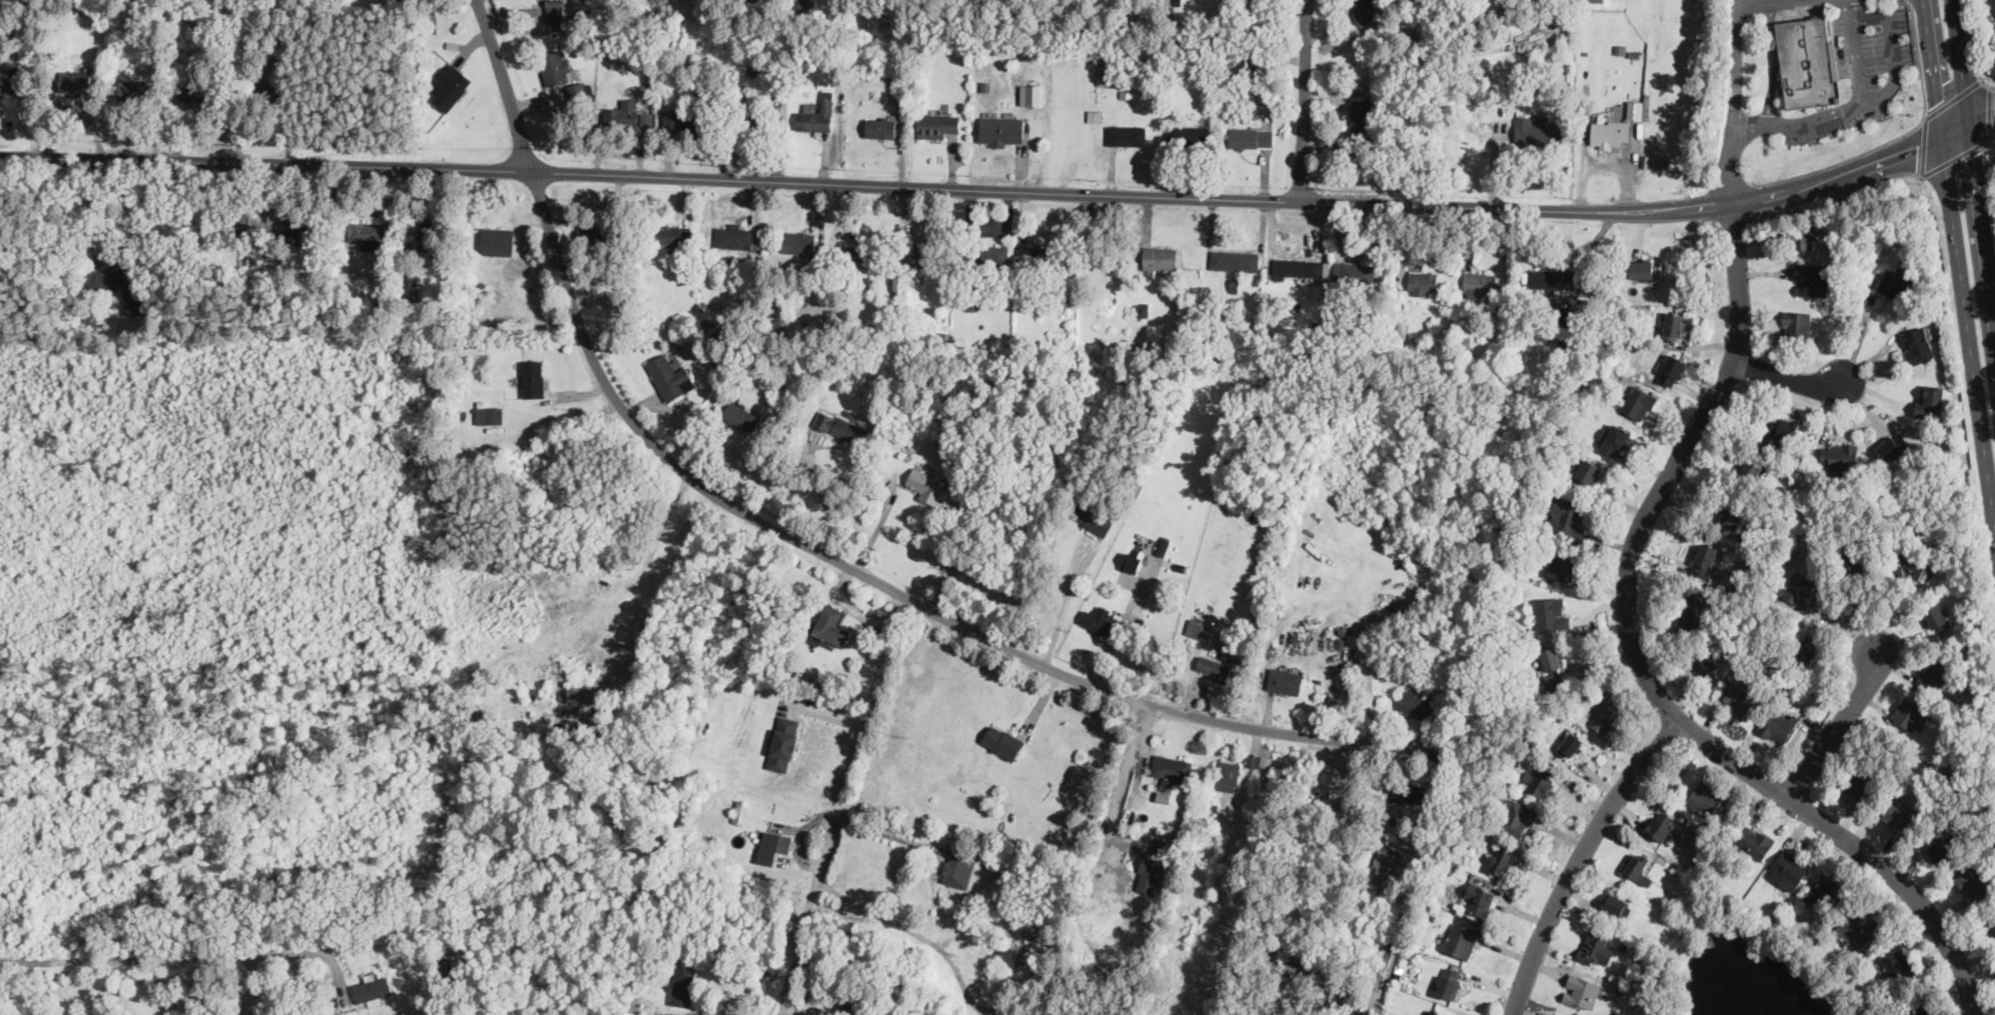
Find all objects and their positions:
building: (1597, 0)
road: (1910, 1)
road: (1759, 3)
building: (1991, 4)
road: (1849, 8)
building: (555, 10)
building: (1364, 12)
building: (192, 23)
road: (1968, 40)
road: (1919, 60)
building: (1807, 62)
road: (1776, 64)
building: (556, 67)
building: (1104, 69)
road: (1895, 70)
building: (77, 80)
road: (1988, 84)
building: (15, 86)
building: (450, 86)
building: (136, 88)
building: (198, 90)
building: (577, 91)
building: (1031, 94)
road: (1953, 98)
road: (1302, 99)
traffic signals: (1939, 100)
road: (1733, 101)
building: (1635, 109)
road: (1990, 111)
building: (627, 114)
building: (817, 114)
building: (1095, 114)
building: (1360, 116)
road: (1982, 117)
building: (679, 120)
building: (753, 121)
building: (939, 125)
building: (881, 126)
building: (1002, 130)
building: (1535, 130)
building: (1610, 132)
building: (1188, 133)
building: (1126, 135)
building: (1252, 137)
traffic signals: (1918, 146)
road: (1923, 147)
road: (1974, 153)
traffic signals: (1975, 154)
road: (1954, 158)
road: (1841, 161)
road: (1988, 176)
road: (992, 189)
road: (1833, 192)
road: (141, 210)
road: (1024, 219)
building: (300, 230)
building: (366, 234)
building: (429, 234)
building: (672, 234)
building: (600, 235)
building: (734, 235)
building: (1804, 238)
building: (498, 241)
building: (798, 242)
building: (1046, 251)
building: (862, 255)
building: (919, 255)
building: (990, 255)
building: (1160, 257)
road: (1960, 257)
building: (1235, 260)
building: (1297, 268)
building: (1643, 269)
building: (1356, 271)
building: (105, 278)
building: (1552, 278)
building: (1811, 279)
building: (1424, 282)
building: (1481, 282)
building: (894, 283)
building: (1894, 284)
building: (1066, 298)
building: (132, 299)
building: (1568, 317)
building: (89, 320)
building: (1073, 321)
building: (1796, 324)
building: (1674, 326)
building: (1061, 334)
building: (1917, 344)
building: (1672, 369)
building: (671, 376)
road: (1793, 377)
building: (534, 378)
building: (1930, 400)
building: (1638, 403)
building: (489, 414)
building: (740, 416)
building: (842, 427)
building: (1783, 428)
building: (1616, 439)
building: (1893, 446)
building: (1839, 455)
building: (1751, 467)
building: (1588, 471)
building: (928, 485)
road: (826, 502)
building: (1728, 514)
building: (1092, 517)
building: (1567, 517)
road: (812, 547)
building: (1706, 558)
building: (1853, 561)
building: (1131, 562)
building: (1561, 564)
building: (1908, 565)
building: (1799, 589)
road: (1064, 601)
building: (1689, 608)
building: (1552, 614)
building: (1937, 617)
building: (1097, 620)
building: (831, 624)
building: (1194, 626)
building: (1806, 648)
building: (1552, 656)
building: (1702, 662)
road: (1642, 666)
building: (1214, 667)
building: (1935, 673)
building: (1284, 679)
building: (1740, 700)
building: (1415, 703)
building: (1910, 713)
building: (1606, 716)
road: (1843, 720)
building: (1778, 724)
building: (1003, 741)
building: (784, 743)
building: (1571, 744)
building: (1257, 761)
building: (1170, 769)
building: (1228, 775)
building: (1539, 781)
road: (1120, 787)
building: (1858, 787)
building: (1409, 792)
building: (1705, 798)
road: (837, 804)
building: (1898, 815)
building: (1518, 817)
building: (1661, 824)
road: (885, 832)
building: (1755, 840)
building: (772, 845)
building: (1941, 851)
road: (1580, 857)
building: (1501, 860)
building: (1385, 864)
building: (958, 867)
building: (1638, 867)
building: (1788, 870)
building: (1150, 874)
building: (1972, 885)
road: (1417, 886)
building: (1826, 889)
building: (1480, 898)
building: (1614, 903)
building: (1990, 925)
road: (907, 928)
building: (1859, 928)
building: (1460, 939)
building: (1594, 944)
building: (1026, 950)
road: (157, 955)
building: (1895, 964)
building: (1449, 982)
building: (683, 986)
building: (372, 988)
building: (1583, 991)
building: (1438, 1013)
road: (692, 1014)

